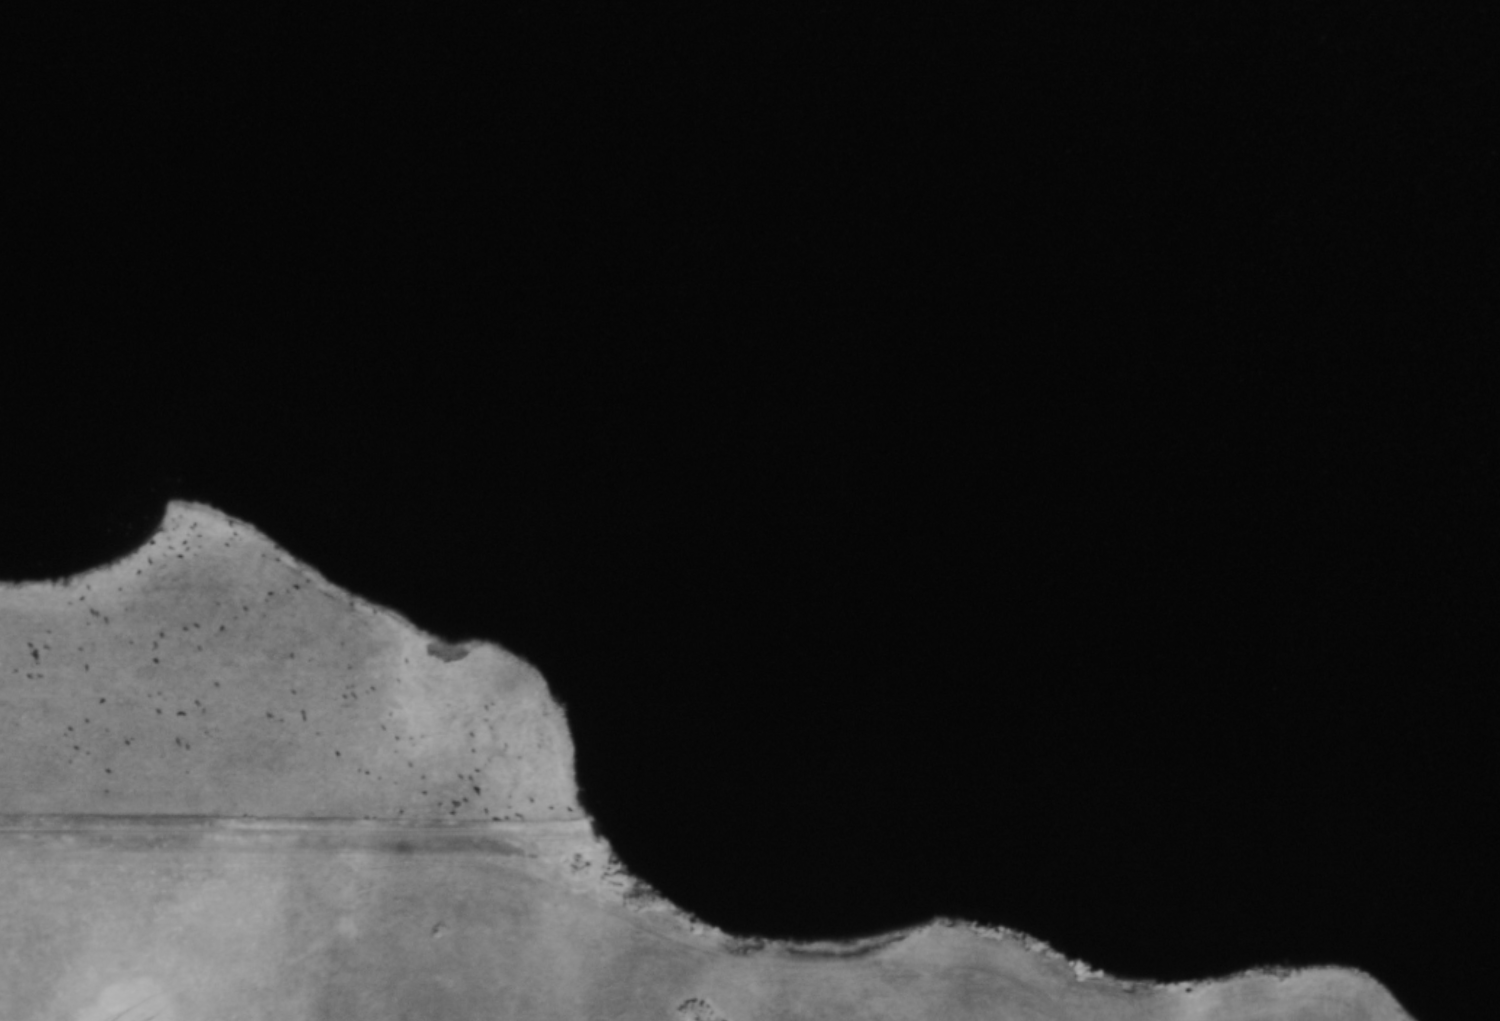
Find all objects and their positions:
road: (690, 938)

